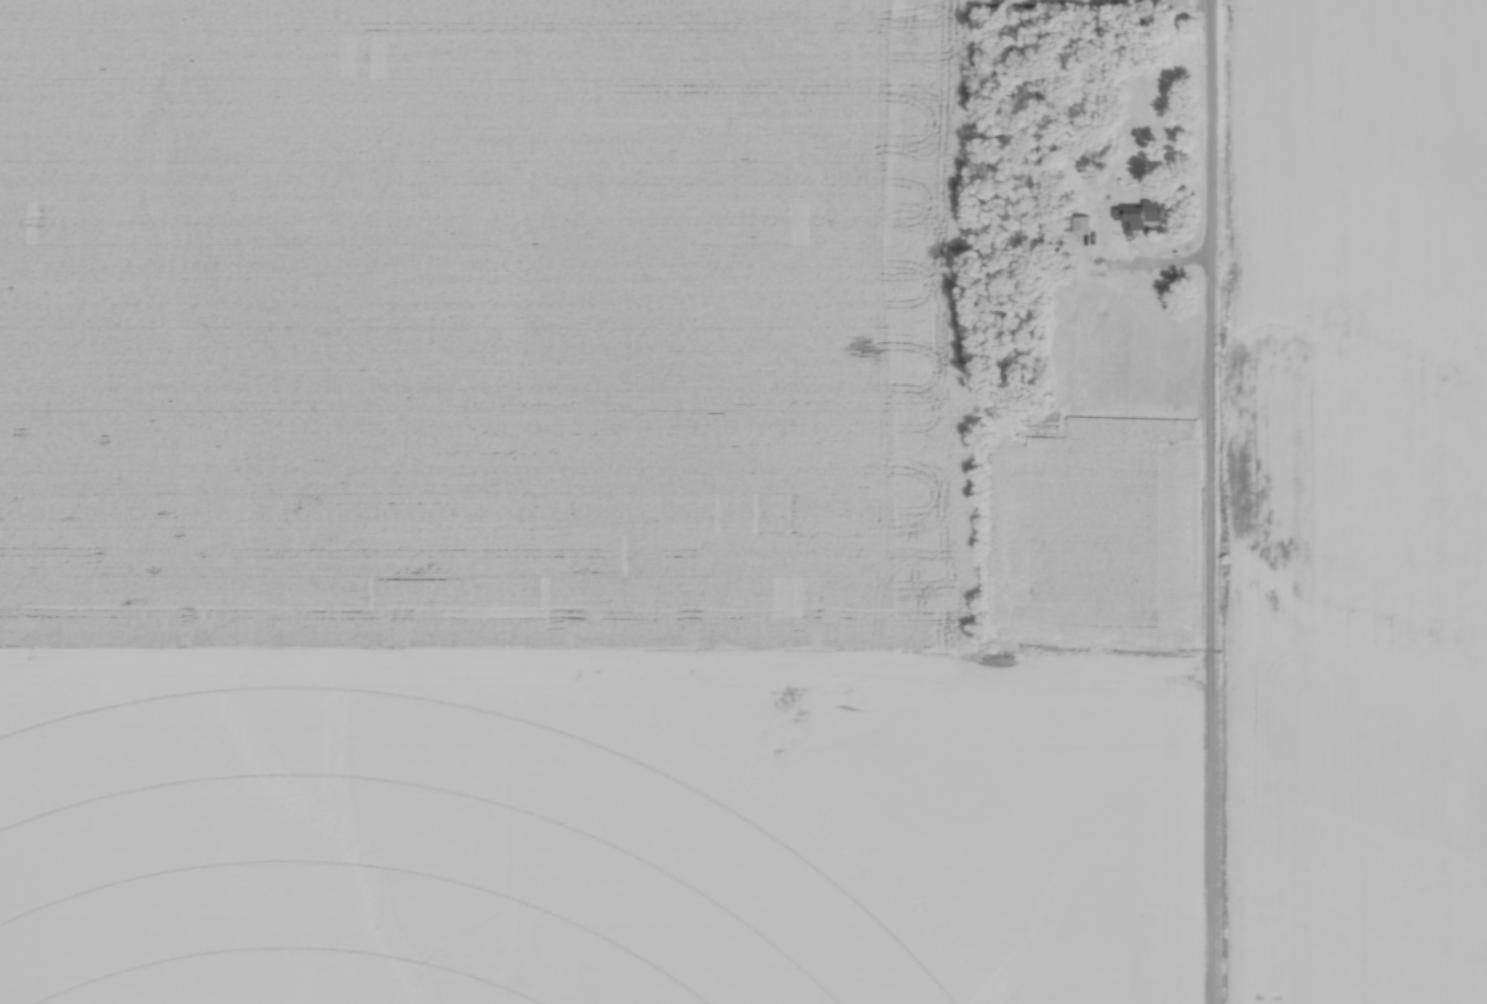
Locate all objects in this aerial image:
building: (1138, 210)
building: (1081, 217)
building: (1067, 278)
road: (1206, 501)

